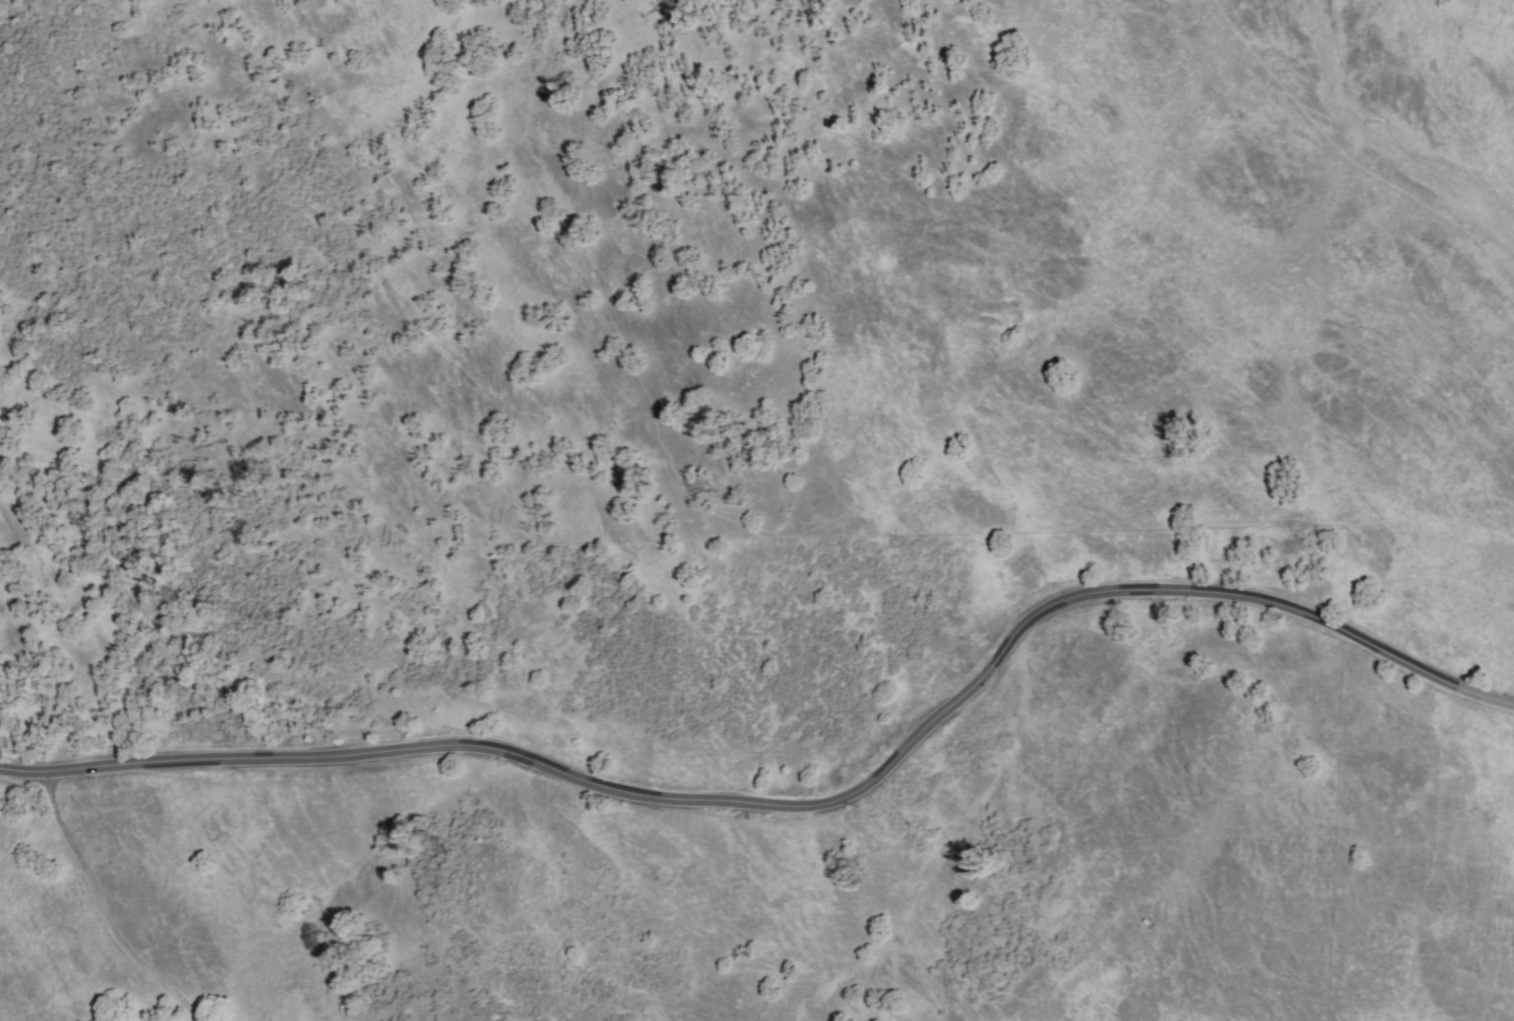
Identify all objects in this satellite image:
road: (803, 806)

